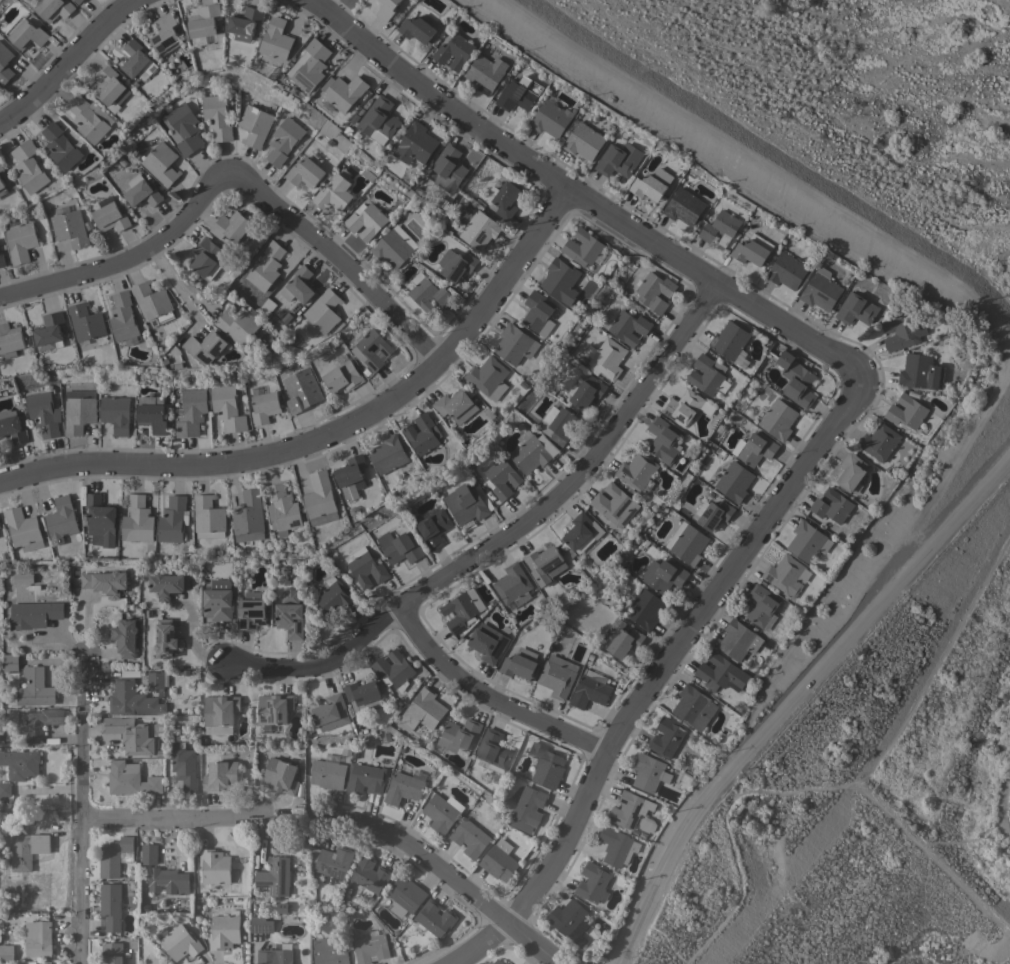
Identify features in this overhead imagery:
building: (78, 1)
building: (54, 8)
building: (386, 8)
building: (205, 21)
building: (246, 22)
building: (416, 28)
building: (27, 31)
building: (166, 33)
building: (277, 39)
building: (454, 51)
building: (137, 59)
road: (69, 63)
building: (5, 64)
building: (310, 65)
building: (484, 73)
building: (111, 86)
building: (344, 91)
building: (518, 93)
building: (217, 116)
building: (551, 118)
building: (87, 119)
building: (379, 120)
building: (254, 125)
building: (184, 128)
building: (284, 140)
building: (583, 141)
building: (415, 144)
building: (61, 146)
building: (618, 159)
road: (763, 159)
building: (161, 163)
building: (2, 166)
building: (29, 166)
building: (449, 167)
building: (305, 172)
building: (651, 185)
building: (2, 187)
building: (141, 191)
building: (335, 193)
building: (506, 199)
road: (585, 199)
building: (684, 206)
building: (110, 215)
building: (366, 220)
building: (231, 226)
building: (70, 228)
building: (720, 228)
building: (479, 229)
building: (21, 241)
building: (394, 246)
building: (584, 247)
building: (752, 249)
building: (207, 257)
building: (2, 259)
road: (342, 259)
road: (132, 261)
building: (456, 264)
building: (266, 266)
building: (786, 270)
building: (561, 280)
building: (299, 284)
road: (173, 289)
building: (821, 290)
building: (653, 291)
building: (428, 292)
building: (152, 303)
building: (856, 309)
building: (322, 312)
building: (539, 313)
building: (123, 318)
building: (86, 321)
building: (239, 324)
building: (628, 326)
building: (903, 330)
building: (50, 331)
building: (730, 339)
building: (10, 340)
building: (515, 344)
building: (206, 346)
building: (371, 349)
building: (608, 358)
building: (921, 372)
building: (708, 375)
building: (342, 377)
building: (489, 377)
building: (796, 379)
building: (299, 384)
building: (585, 391)
building: (456, 405)
building: (264, 406)
building: (682, 406)
building: (227, 408)
building: (906, 411)
building: (190, 412)
building: (43, 413)
building: (78, 413)
building: (115, 413)
building: (152, 417)
building: (779, 418)
building: (557, 424)
building: (12, 429)
road: (334, 431)
building: (422, 433)
building: (663, 440)
building: (879, 441)
building: (757, 448)
building: (532, 451)
building: (388, 453)
building: (637, 472)
building: (851, 472)
building: (351, 476)
building: (500, 476)
building: (734, 481)
building: (320, 499)
building: (465, 503)
building: (615, 504)
building: (831, 505)
road: (963, 508)
building: (282, 509)
building: (713, 513)
building: (249, 516)
building: (208, 517)
building: (137, 519)
building: (173, 519)
building: (61, 520)
building: (100, 520)
building: (432, 527)
building: (23, 529)
building: (581, 532)
road: (511, 533)
building: (808, 541)
building: (687, 542)
building: (399, 545)
building: (545, 564)
building: (365, 567)
building: (786, 574)
building: (663, 575)
building: (22, 577)
building: (105, 582)
building: (513, 584)
building: (167, 585)
building: (334, 598)
building: (218, 599)
building: (761, 604)
building: (645, 608)
building: (251, 610)
building: (459, 611)
building: (290, 613)
building: (34, 614)
building: (124, 637)
building: (166, 638)
building: (738, 639)
building: (625, 641)
building: (487, 642)
building: (10, 663)
building: (520, 663)
building: (394, 669)
building: (721, 673)
road: (656, 674)
building: (593, 676)
building: (557, 677)
building: (155, 680)
building: (35, 688)
building: (589, 691)
building: (363, 695)
building: (132, 699)
road: (490, 699)
road: (788, 702)
building: (274, 707)
building: (694, 707)
building: (221, 709)
building: (422, 710)
building: (331, 712)
building: (37, 722)
building: (129, 734)
building: (459, 735)
building: (667, 736)
building: (494, 748)
building: (20, 764)
building: (546, 765)
building: (184, 766)
building: (649, 772)
building: (328, 774)
building: (281, 775)
building: (221, 776)
building: (365, 778)
building: (131, 779)
road: (844, 784)
building: (403, 787)
building: (4, 789)
building: (529, 805)
road: (82, 808)
building: (629, 809)
building: (440, 813)
road: (171, 818)
building: (470, 837)
building: (617, 846)
building: (26, 849)
building: (149, 853)
building: (115, 856)
building: (499, 860)
building: (331, 861)
building: (214, 866)
building: (370, 874)
building: (275, 875)
road: (451, 875)
building: (168, 880)
building: (593, 882)
building: (405, 896)
building: (111, 905)
road: (637, 905)
building: (566, 916)
building: (434, 918)
building: (260, 923)
building: (224, 931)
building: (39, 940)
building: (180, 941)
building: (370, 948)
building: (329, 952)
building: (6, 953)
building: (111, 953)
building: (274, 956)
building: (497, 962)
building: (506, 963)

